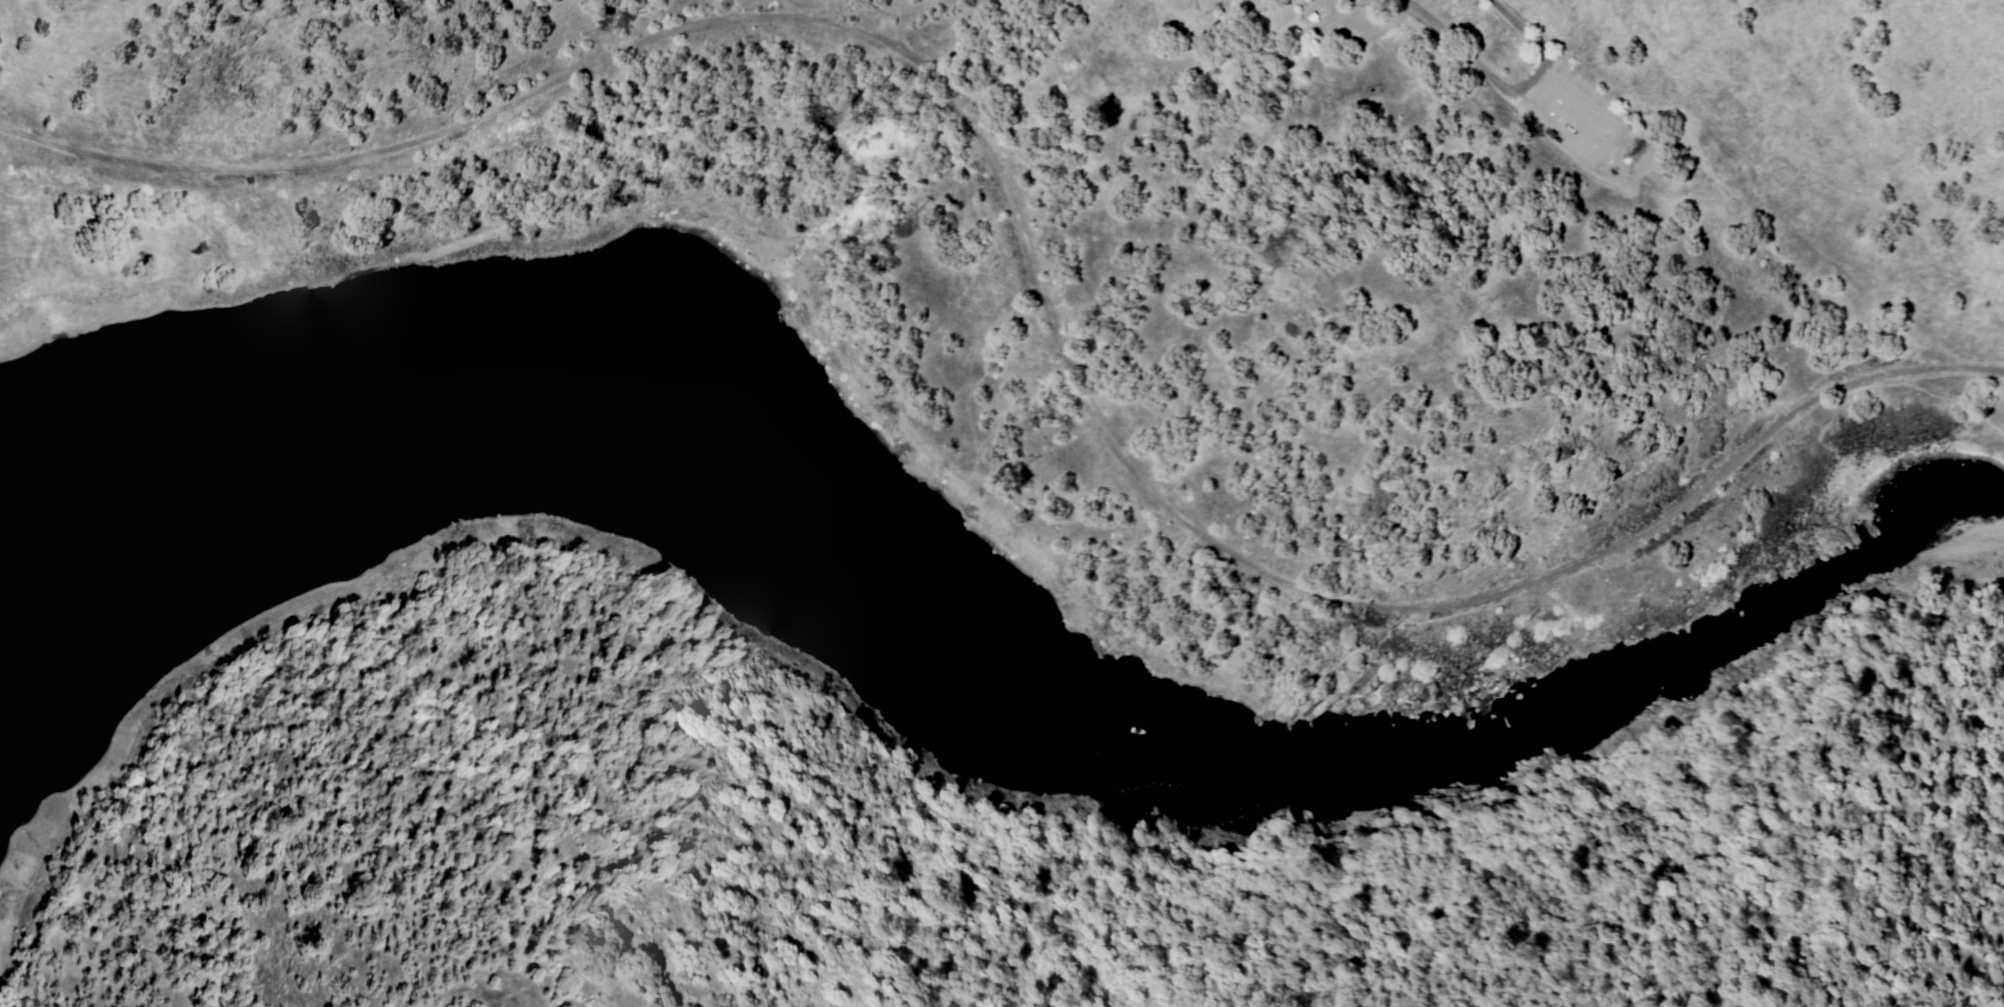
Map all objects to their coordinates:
road: (1026, 284)
river: (81, 462)
river: (25, 486)
river: (724, 487)
river: (1662, 649)

